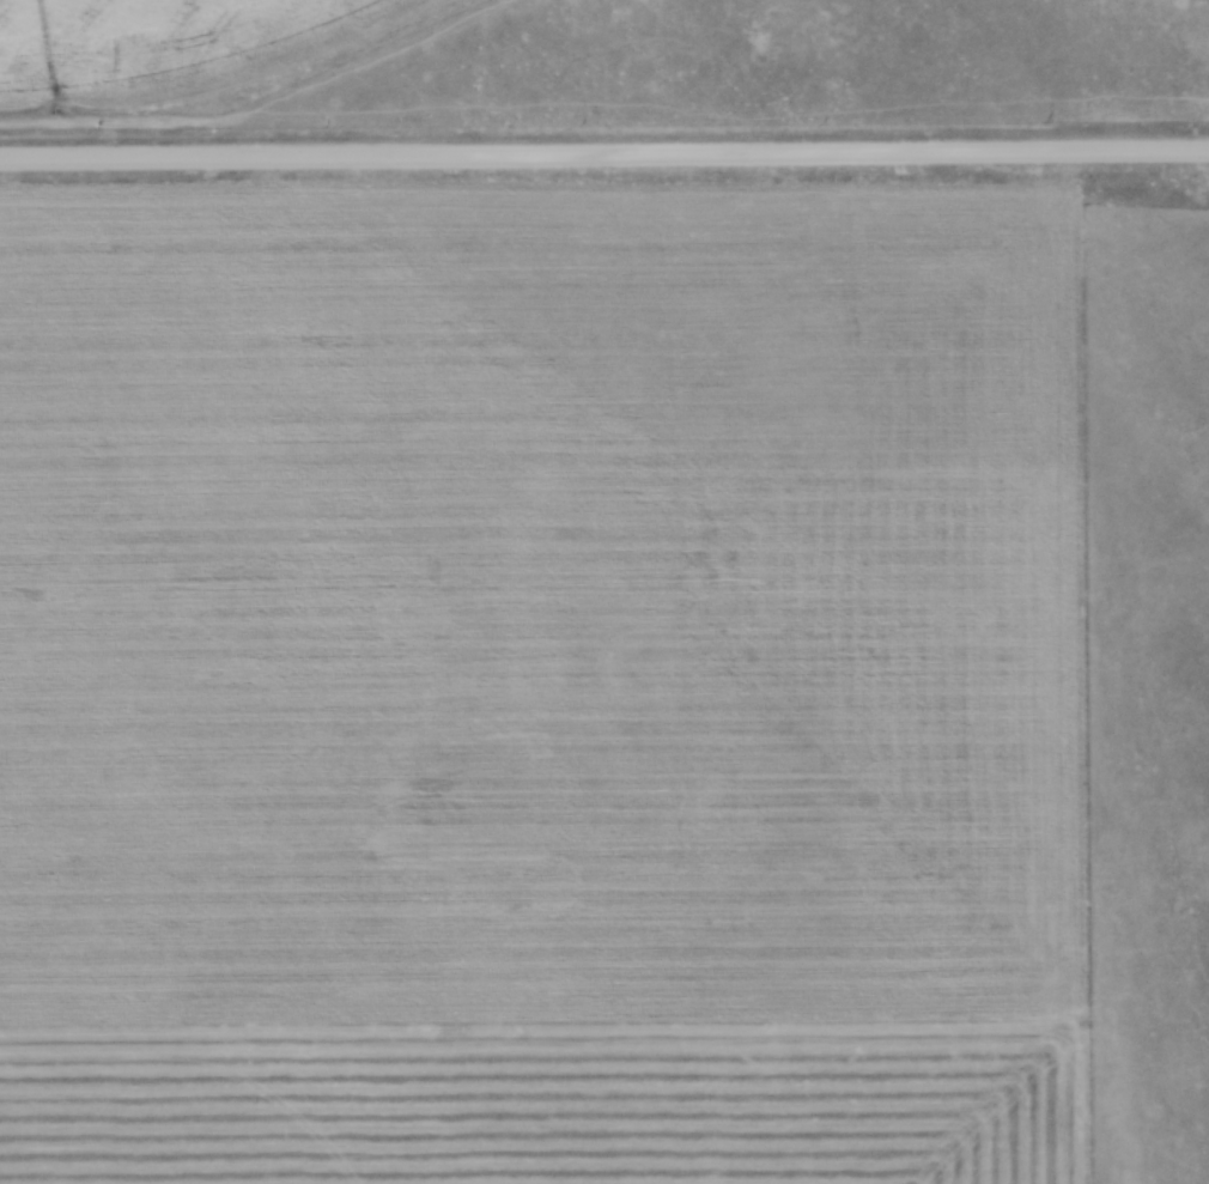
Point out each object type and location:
crop: (150, 37)
road: (603, 152)

